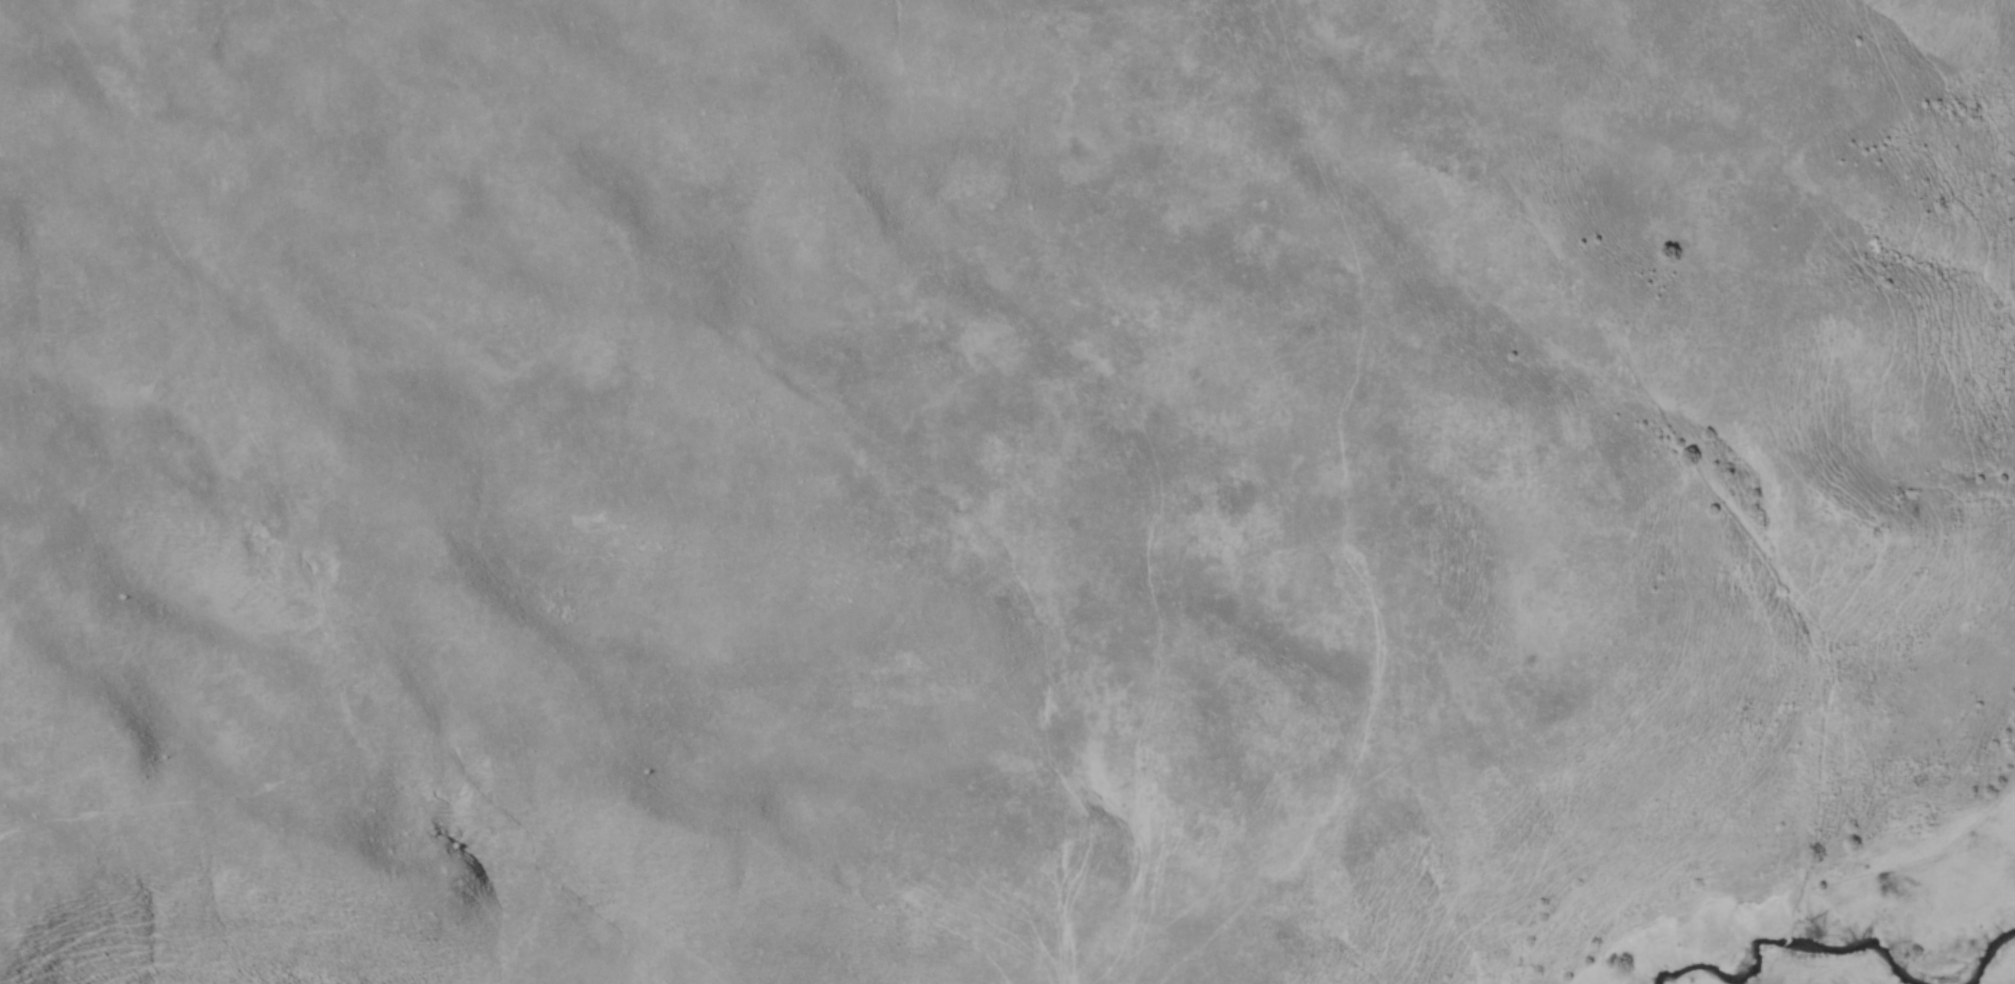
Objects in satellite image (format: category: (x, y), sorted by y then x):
park: (2000, 856)
river: (1783, 946)
river: (1982, 960)

